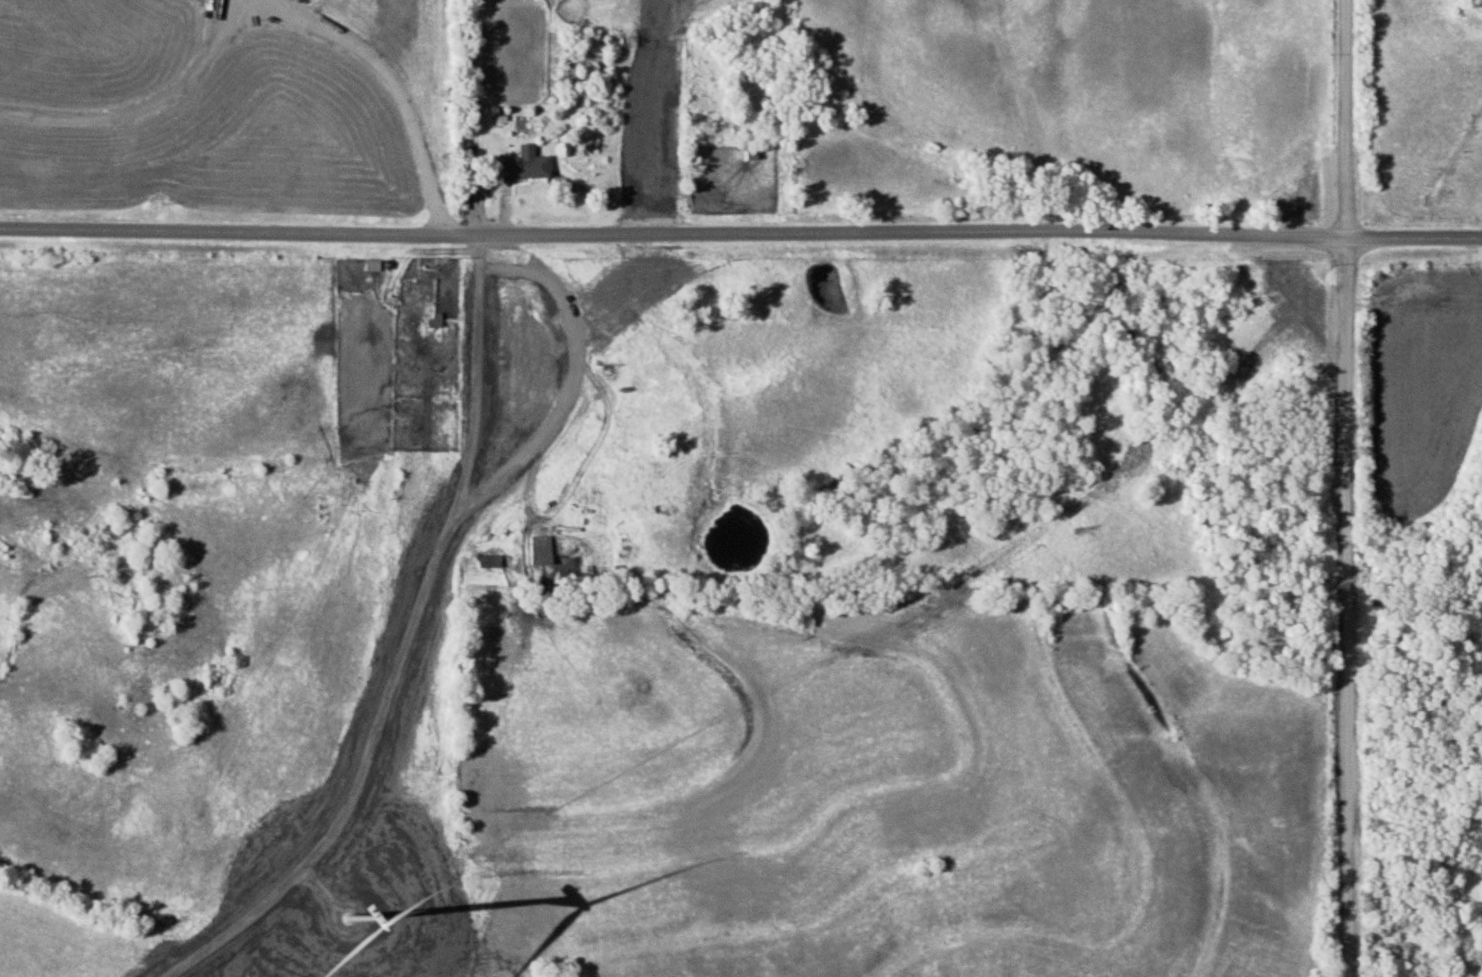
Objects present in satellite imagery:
road: (268, 5)
building: (517, 166)
road: (740, 233)
road: (1345, 488)
building: (537, 554)
building: (487, 561)
wind turbine: (348, 916)

